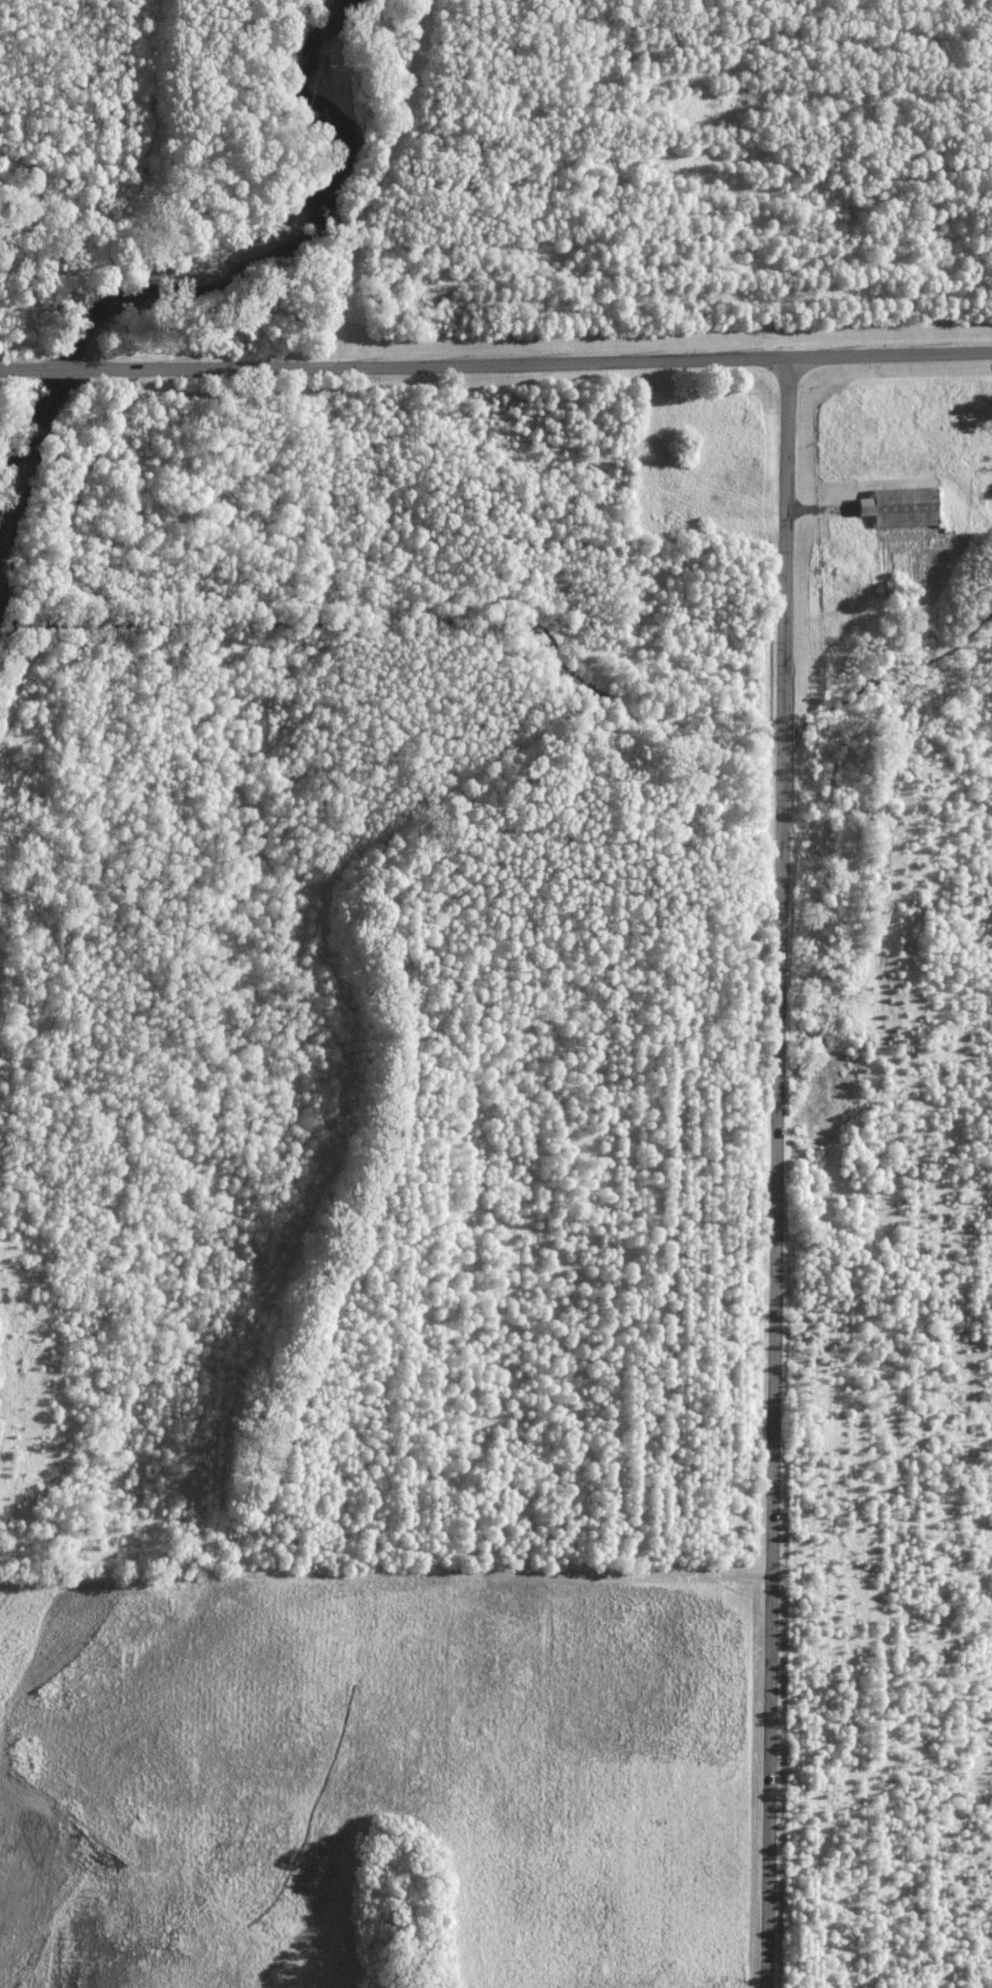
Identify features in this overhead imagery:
river: (185, 273)
road: (538, 361)
road: (20, 367)
road: (62, 367)
building: (902, 506)
road: (776, 1172)

